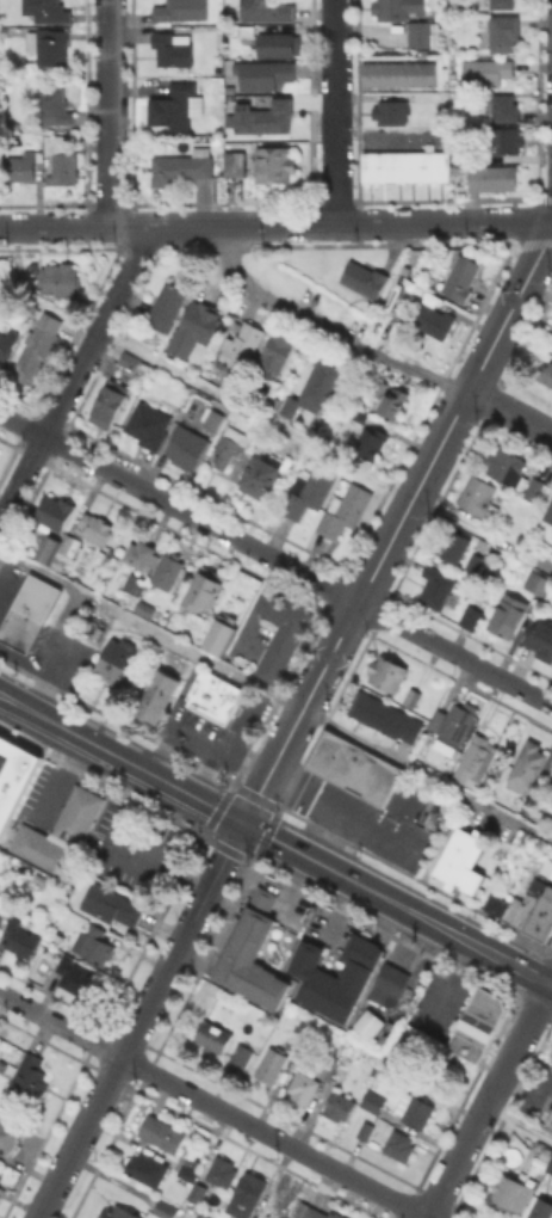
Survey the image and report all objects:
building: (503, 4)
building: (392, 8)
building: (48, 10)
building: (181, 10)
building: (265, 10)
building: (420, 32)
building: (504, 32)
building: (49, 44)
building: (278, 44)
building: (173, 48)
building: (486, 70)
building: (399, 73)
building: (265, 75)
building: (423, 96)
building: (176, 105)
building: (55, 106)
building: (502, 107)
road: (336, 111)
building: (391, 111)
road: (108, 113)
building: (265, 116)
building: (507, 140)
building: (219, 144)
building: (460, 152)
building: (61, 160)
building: (235, 162)
building: (274, 162)
building: (407, 165)
building: (19, 166)
building: (182, 166)
building: (494, 177)
road: (275, 223)
building: (17, 265)
building: (60, 277)
building: (461, 277)
building: (365, 278)
road: (539, 289)
building: (167, 307)
building: (200, 320)
building: (434, 324)
road: (324, 333)
building: (7, 343)
building: (242, 343)
building: (38, 352)
building: (275, 352)
building: (126, 357)
building: (546, 373)
road: (74, 374)
building: (314, 387)
building: (275, 401)
building: (393, 401)
building: (110, 402)
road: (510, 411)
building: (359, 416)
building: (213, 419)
building: (150, 423)
road: (305, 439)
building: (372, 441)
building: (187, 445)
building: (230, 445)
building: (507, 466)
building: (263, 473)
building: (534, 487)
building: (309, 491)
building: (520, 491)
building: (502, 494)
building: (476, 496)
building: (345, 509)
building: (54, 512)
building: (548, 512)
building: (95, 527)
road: (397, 527)
building: (69, 543)
building: (454, 545)
building: (48, 547)
building: (138, 553)
road: (275, 559)
building: (475, 561)
building: (58, 562)
building: (168, 570)
building: (135, 579)
building: (128, 582)
building: (538, 582)
road: (12, 584)
building: (436, 586)
building: (205, 588)
building: (145, 608)
building: (27, 611)
building: (473, 613)
building: (509, 614)
building: (219, 635)
building: (283, 638)
building: (542, 641)
road: (61, 650)
building: (113, 658)
building: (387, 672)
building: (155, 693)
building: (211, 695)
building: (411, 695)
road: (275, 696)
road: (35, 712)
building: (385, 716)
building: (455, 725)
building: (476, 764)
building: (528, 764)
building: (345, 770)
building: (14, 775)
road: (156, 777)
road: (286, 780)
road: (309, 792)
building: (551, 793)
road: (364, 820)
building: (60, 832)
road: (323, 832)
road: (160, 859)
building: (463, 861)
road: (397, 904)
building: (517, 904)
building: (114, 909)
building: (0, 915)
building: (542, 918)
building: (1, 921)
building: (21, 939)
building: (97, 942)
building: (253, 953)
building: (73, 973)
building: (334, 977)
building: (387, 985)
road: (139, 1020)
building: (366, 1022)
building: (475, 1023)
building: (213, 1036)
building: (243, 1053)
building: (272, 1064)
building: (330, 1068)
building: (393, 1069)
building: (29, 1072)
building: (304, 1085)
road: (488, 1099)
building: (373, 1101)
road: (212, 1105)
building: (340, 1106)
building: (420, 1112)
building: (550, 1118)
road: (519, 1122)
building: (366, 1128)
building: (162, 1134)
building: (10, 1136)
building: (399, 1144)
building: (148, 1170)
building: (550, 1170)
building: (223, 1173)
building: (188, 1174)
building: (0, 1175)
building: (0, 1188)
building: (198, 1192)
building: (513, 1192)
building: (250, 1195)
building: (166, 1210)
building: (542, 1210)
building: (310, 1212)
building: (118, 1213)

